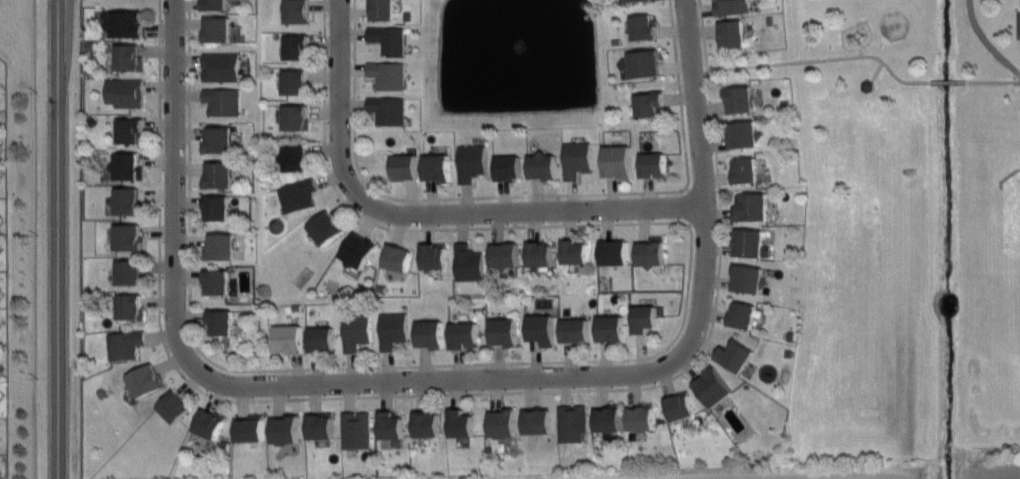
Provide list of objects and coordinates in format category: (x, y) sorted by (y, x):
building: (635, 1)
building: (215, 4)
building: (732, 7)
building: (384, 10)
building: (298, 11)
building: (128, 23)
building: (645, 26)
building: (218, 29)
building: (732, 34)
building: (390, 38)
road: (986, 42)
building: (296, 45)
road: (861, 53)
building: (130, 57)
road: (816, 60)
building: (645, 63)
building: (222, 66)
road: (877, 71)
building: (389, 74)
building: (295, 81)
road: (948, 82)
road: (992, 82)
building: (868, 85)
building: (125, 91)
building: (740, 99)
building: (223, 100)
building: (651, 104)
building: (389, 109)
building: (1019, 109)
building: (297, 116)
building: (130, 129)
building: (744, 134)
building: (219, 138)
building: (0, 143)
building: (295, 156)
building: (577, 158)
building: (618, 161)
building: (471, 162)
building: (653, 164)
building: (128, 166)
building: (405, 166)
building: (438, 166)
building: (509, 166)
building: (544, 166)
road: (701, 168)
building: (746, 168)
building: (220, 174)
building: (0, 180)
road: (173, 193)
building: (298, 194)
road: (525, 195)
building: (127, 200)
building: (218, 206)
building: (753, 206)
road: (428, 215)
building: (0, 216)
building: (326, 228)
park: (913, 229)
building: (129, 237)
road: (34, 239)
road: (55, 239)
road: (79, 239)
park: (1009, 240)
building: (751, 244)
building: (222, 246)
building: (359, 249)
building: (0, 251)
building: (576, 251)
building: (614, 252)
building: (652, 252)
building: (541, 253)
building: (504, 254)
building: (435, 256)
building: (398, 257)
building: (469, 263)
building: (131, 272)
building: (748, 278)
building: (217, 281)
building: (0, 288)
building: (131, 305)
building: (743, 314)
building: (645, 317)
park: (875, 317)
building: (222, 321)
building: (0, 325)
building: (612, 328)
building: (394, 329)
building: (542, 329)
building: (575, 329)
building: (357, 331)
building: (506, 331)
building: (432, 333)
building: (464, 335)
building: (290, 338)
building: (322, 338)
building: (126, 343)
building: (736, 356)
road: (598, 359)
building: (0, 361)
road: (455, 380)
building: (146, 381)
building: (714, 386)
road: (431, 394)
building: (0, 398)
building: (680, 406)
building: (175, 407)
building: (642, 416)
building: (609, 418)
building: (538, 421)
building: (573, 421)
building: (210, 422)
building: (503, 422)
building: (427, 423)
building: (462, 423)
building: (321, 425)
building: (391, 425)
building: (252, 428)
building: (285, 429)
building: (356, 430)
building: (0, 435)
crop: (793, 471)
building: (1, 473)

